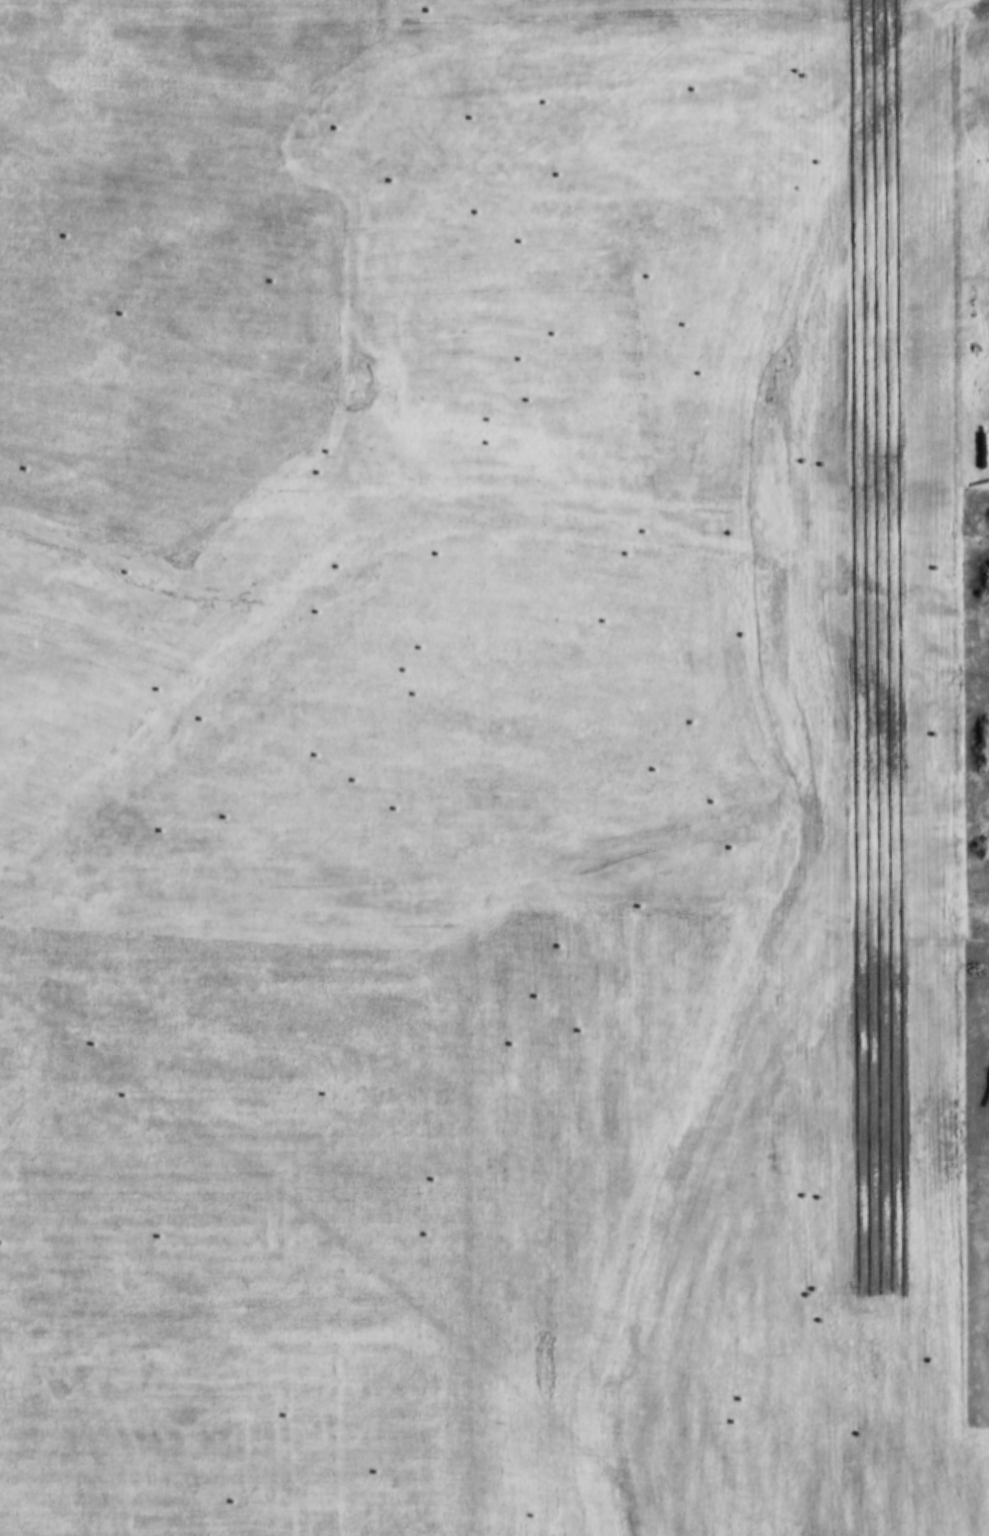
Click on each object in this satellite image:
quarry: (256, 349)

